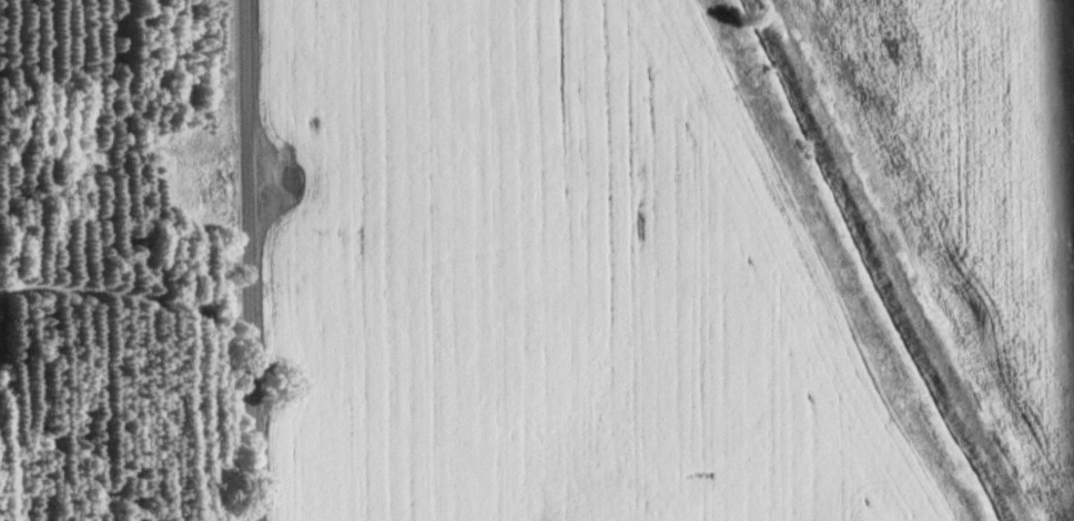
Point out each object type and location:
road: (250, 260)

